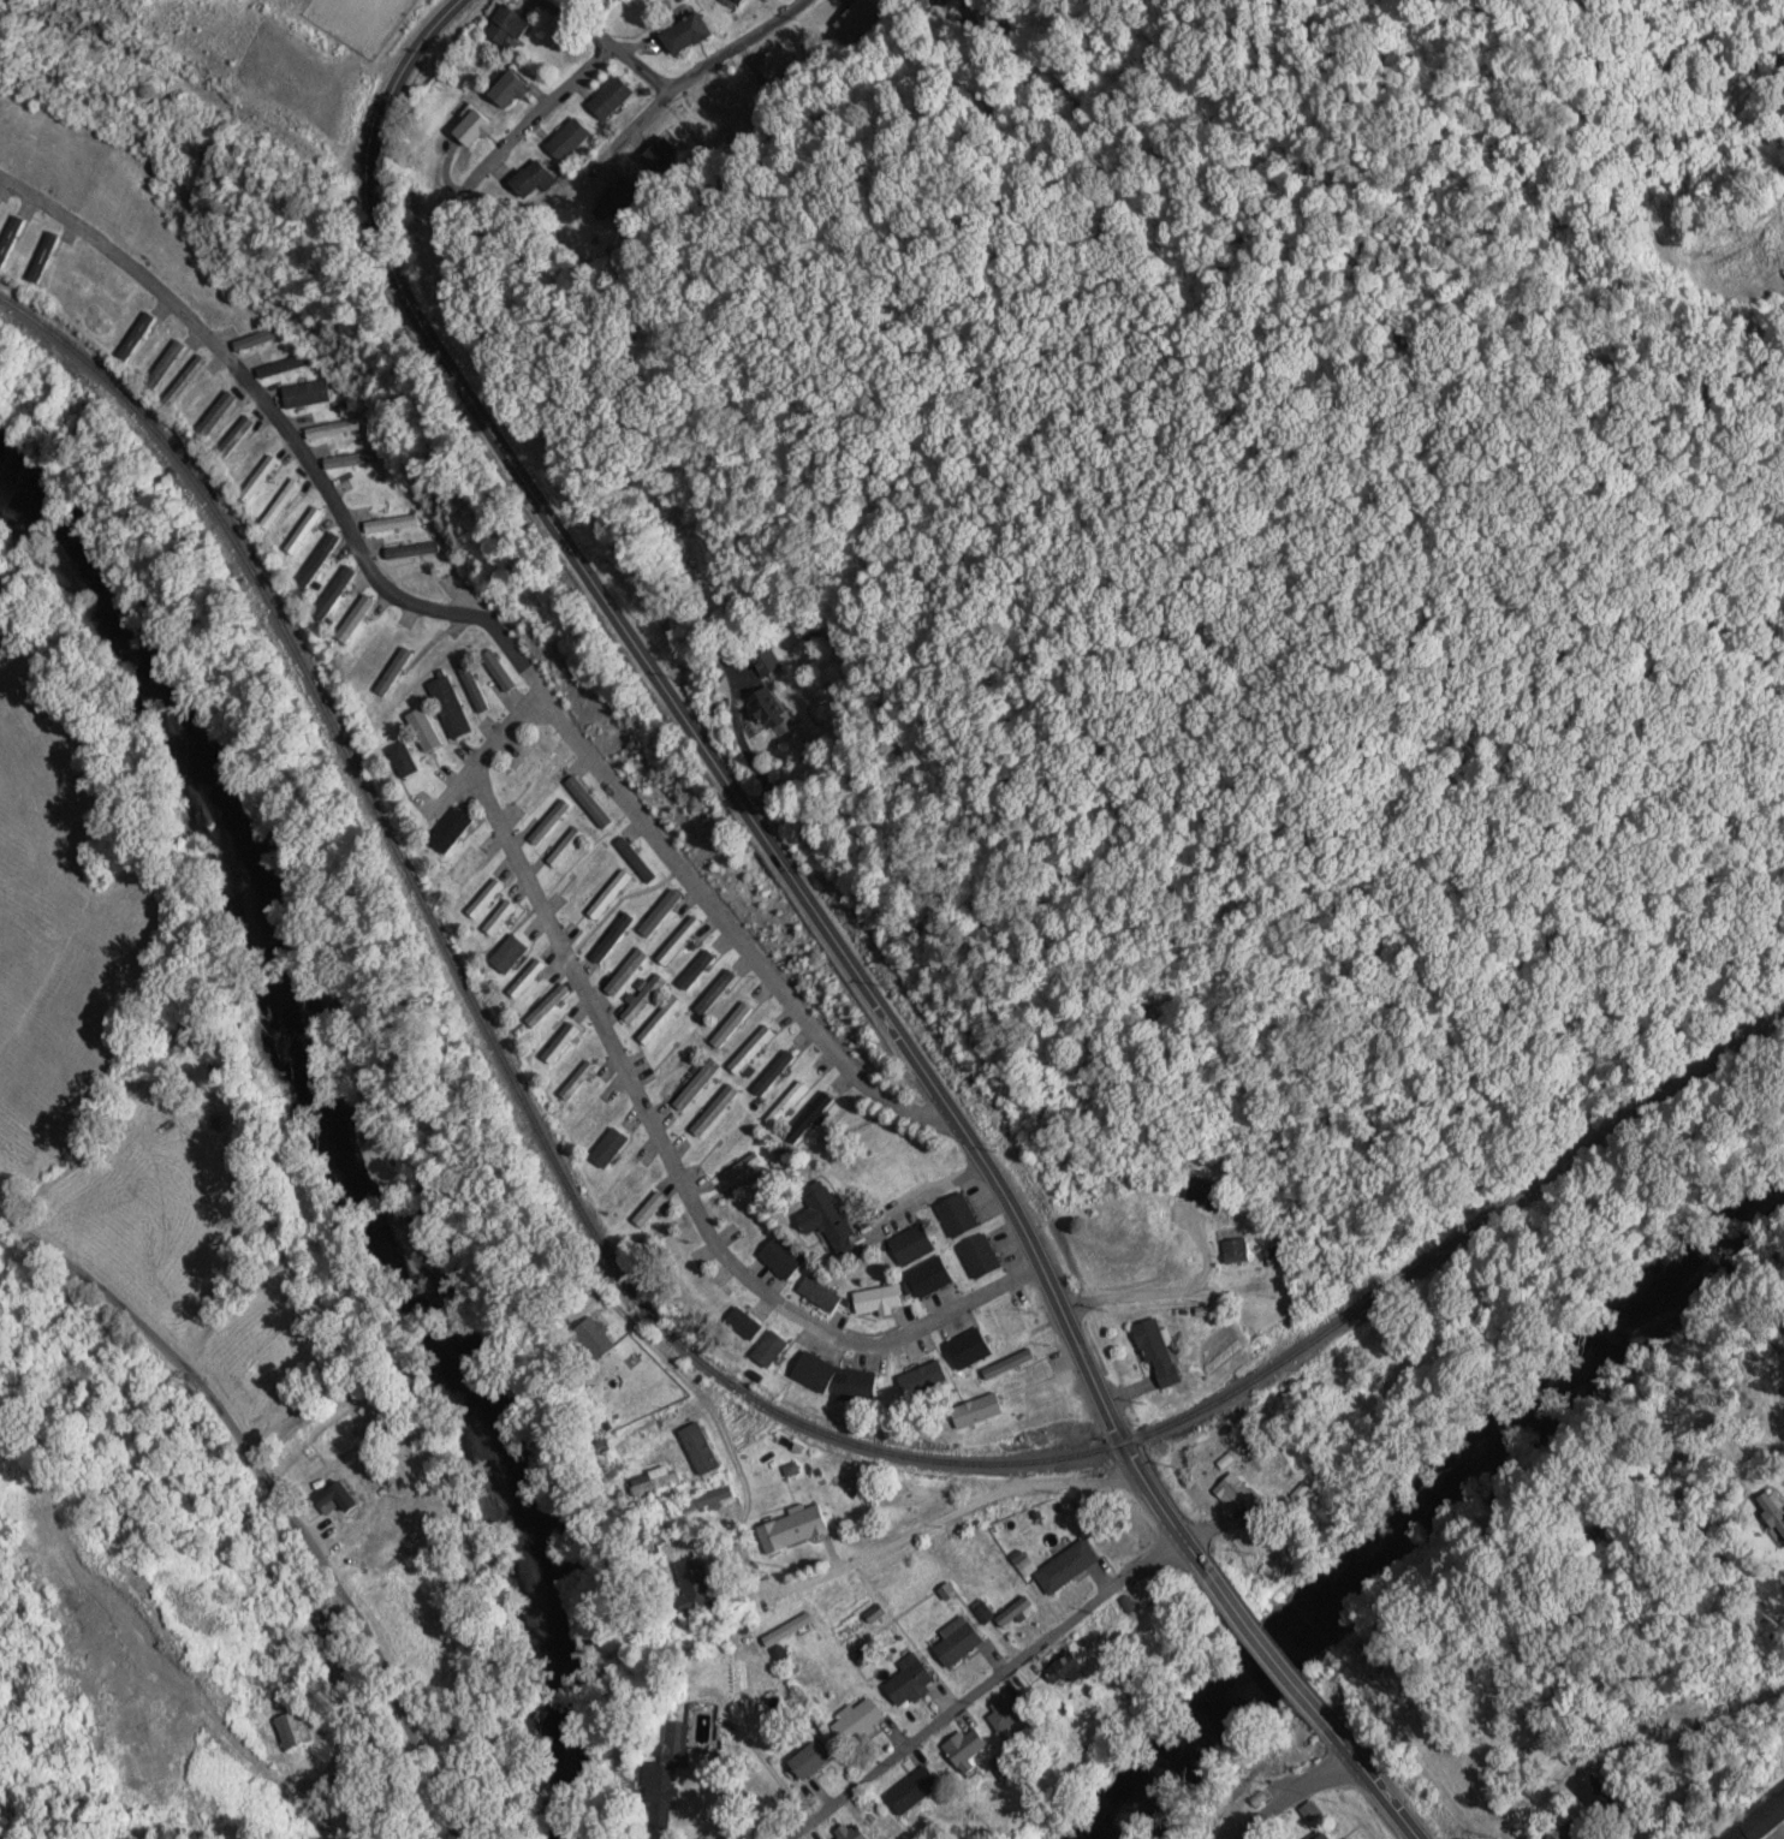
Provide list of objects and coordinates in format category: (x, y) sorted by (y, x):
building: (863, 13)
building: (506, 26)
building: (684, 34)
road: (611, 47)
building: (784, 66)
road: (694, 76)
building: (506, 91)
building: (609, 99)
road: (545, 112)
building: (471, 130)
building: (567, 139)
building: (661, 156)
building: (535, 175)
building: (617, 200)
building: (10, 238)
building: (42, 258)
building: (135, 337)
building: (258, 339)
building: (162, 367)
building: (283, 367)
building: (182, 382)
building: (305, 394)
building: (213, 417)
building: (332, 429)
building: (233, 438)
building: (351, 460)
building: (257, 481)
building: (281, 501)
building: (389, 524)
building: (302, 531)
building: (411, 550)
building: (316, 560)
building: (332, 594)
building: (352, 619)
building: (767, 661)
building: (496, 669)
building: (472, 686)
building: (763, 704)
building: (450, 706)
building: (423, 727)
building: (402, 758)
road: (731, 787)
building: (587, 801)
building: (548, 821)
building: (447, 828)
building: (565, 847)
building: (635, 858)
building: (462, 864)
road: (523, 873)
building: (608, 894)
building: (483, 898)
building: (659, 912)
building: (498, 918)
building: (612, 939)
building: (678, 940)
building: (506, 953)
building: (626, 972)
building: (525, 980)
building: (642, 998)
building: (546, 1006)
building: (659, 1020)
building: (731, 1025)
building: (559, 1043)
building: (750, 1051)
building: (773, 1073)
building: (576, 1081)
building: (696, 1085)
building: (714, 1111)
building: (809, 1119)
river: (340, 1130)
building: (732, 1141)
building: (606, 1148)
building: (743, 1167)
building: (1206, 1192)
building: (649, 1209)
building: (956, 1214)
building: (825, 1218)
building: (910, 1244)
building: (1233, 1252)
building: (979, 1255)
building: (780, 1256)
building: (928, 1276)
building: (817, 1293)
building: (879, 1298)
building: (1007, 1317)
building: (742, 1322)
building: (591, 1337)
railway: (684, 1344)
building: (967, 1347)
building: (768, 1349)
building: (1154, 1352)
building: (1007, 1362)
building: (811, 1370)
building: (926, 1373)
building: (852, 1383)
building: (640, 1400)
building: (974, 1410)
building: (635, 1435)
building: (698, 1448)
building: (650, 1482)
road: (270, 1490)
building: (1231, 1492)
building: (333, 1499)
building: (707, 1500)
river: (1427, 1511)
building: (791, 1528)
building: (1065, 1566)
road: (809, 1577)
building: (691, 1587)
building: (787, 1627)
building: (956, 1641)
road: (1266, 1649)
building: (1062, 1671)
building: (908, 1680)
road: (993, 1683)
building: (1005, 1710)
building: (860, 1716)
building: (302, 1727)
building: (963, 1748)
building: (807, 1760)
building: (666, 1761)
road: (1372, 1781)
building: (910, 1790)
building: (1598, 1796)
road: (1295, 1799)
building: (1758, 1820)
building: (1565, 1832)
building: (848, 1833)
building: (1320, 1835)

